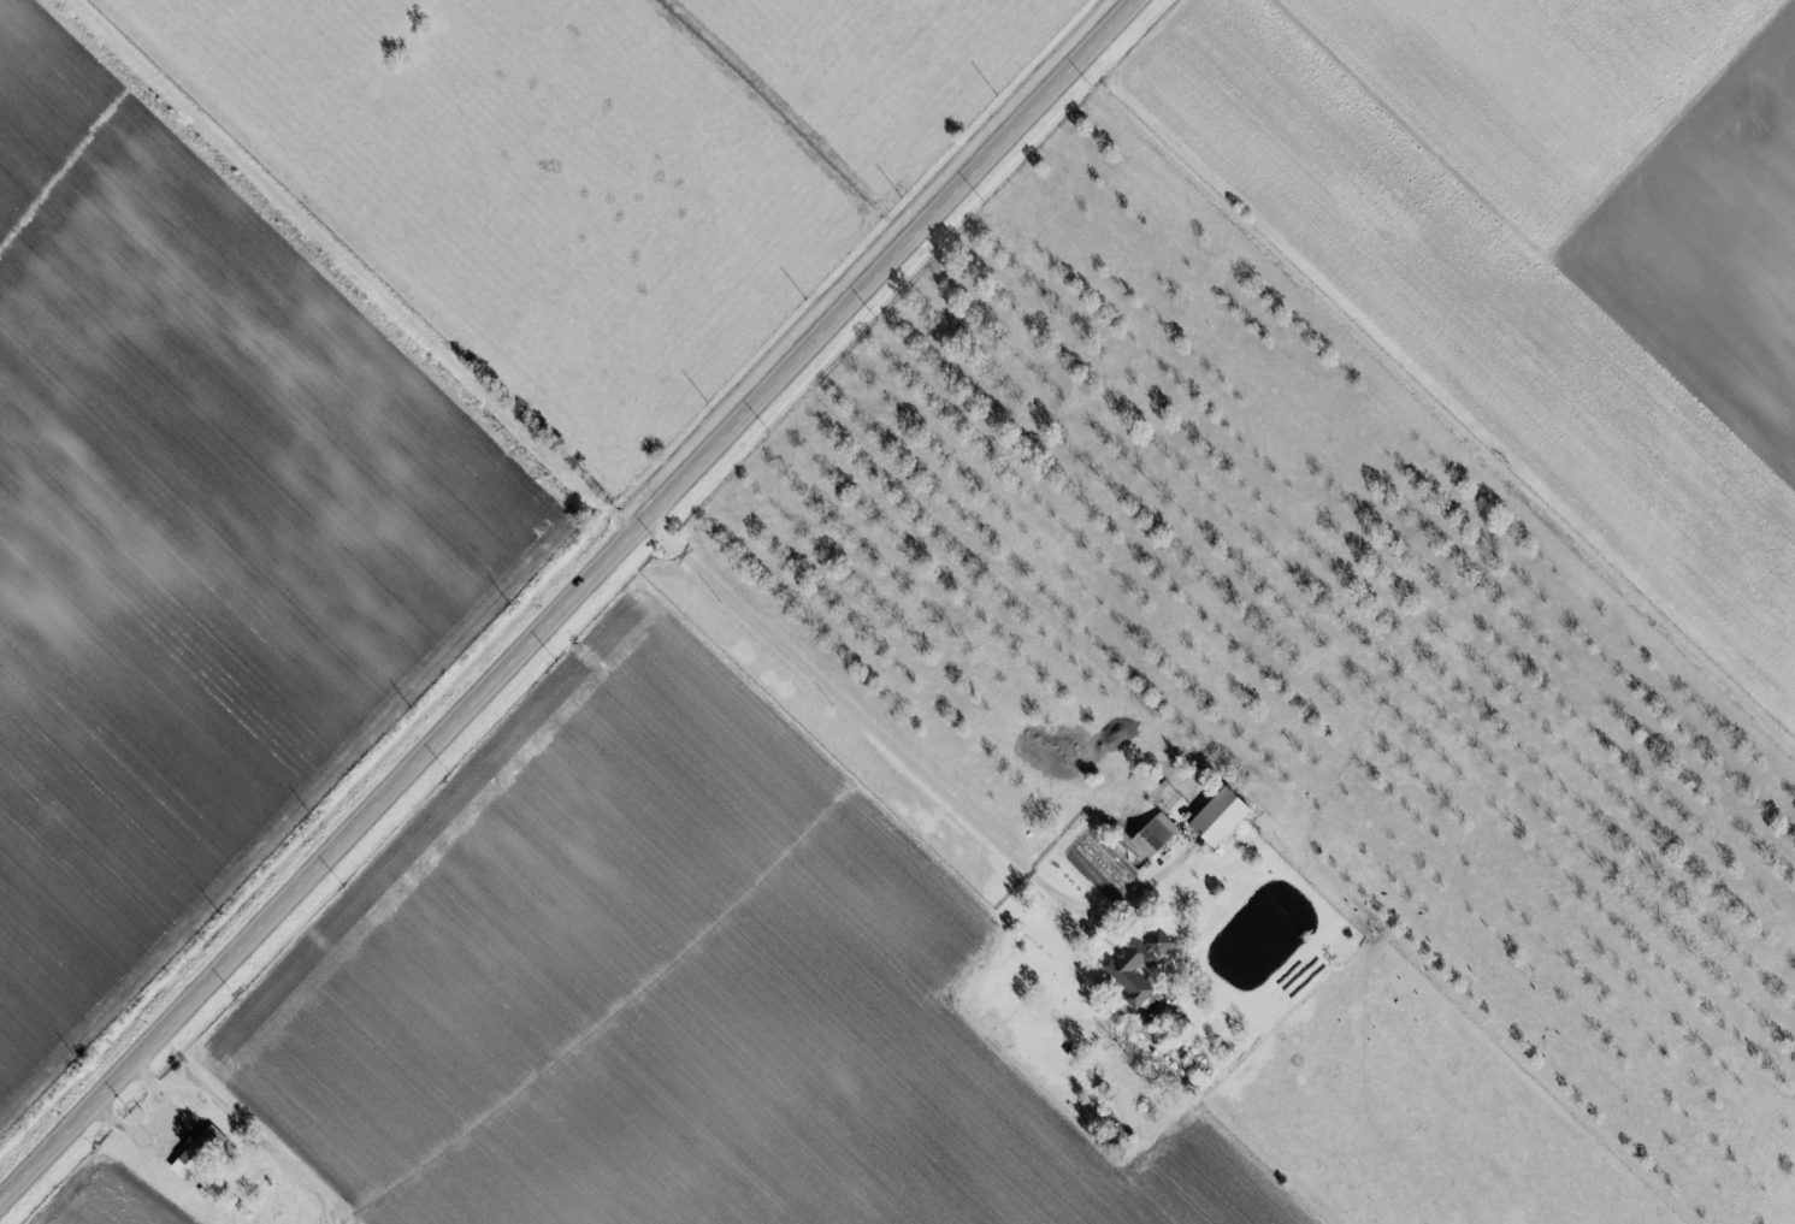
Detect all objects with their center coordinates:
road: (569, 602)
road: (872, 727)
building: (1224, 816)
building: (1157, 835)
building: (1139, 966)
road: (1348, 1088)
building: (199, 1154)

